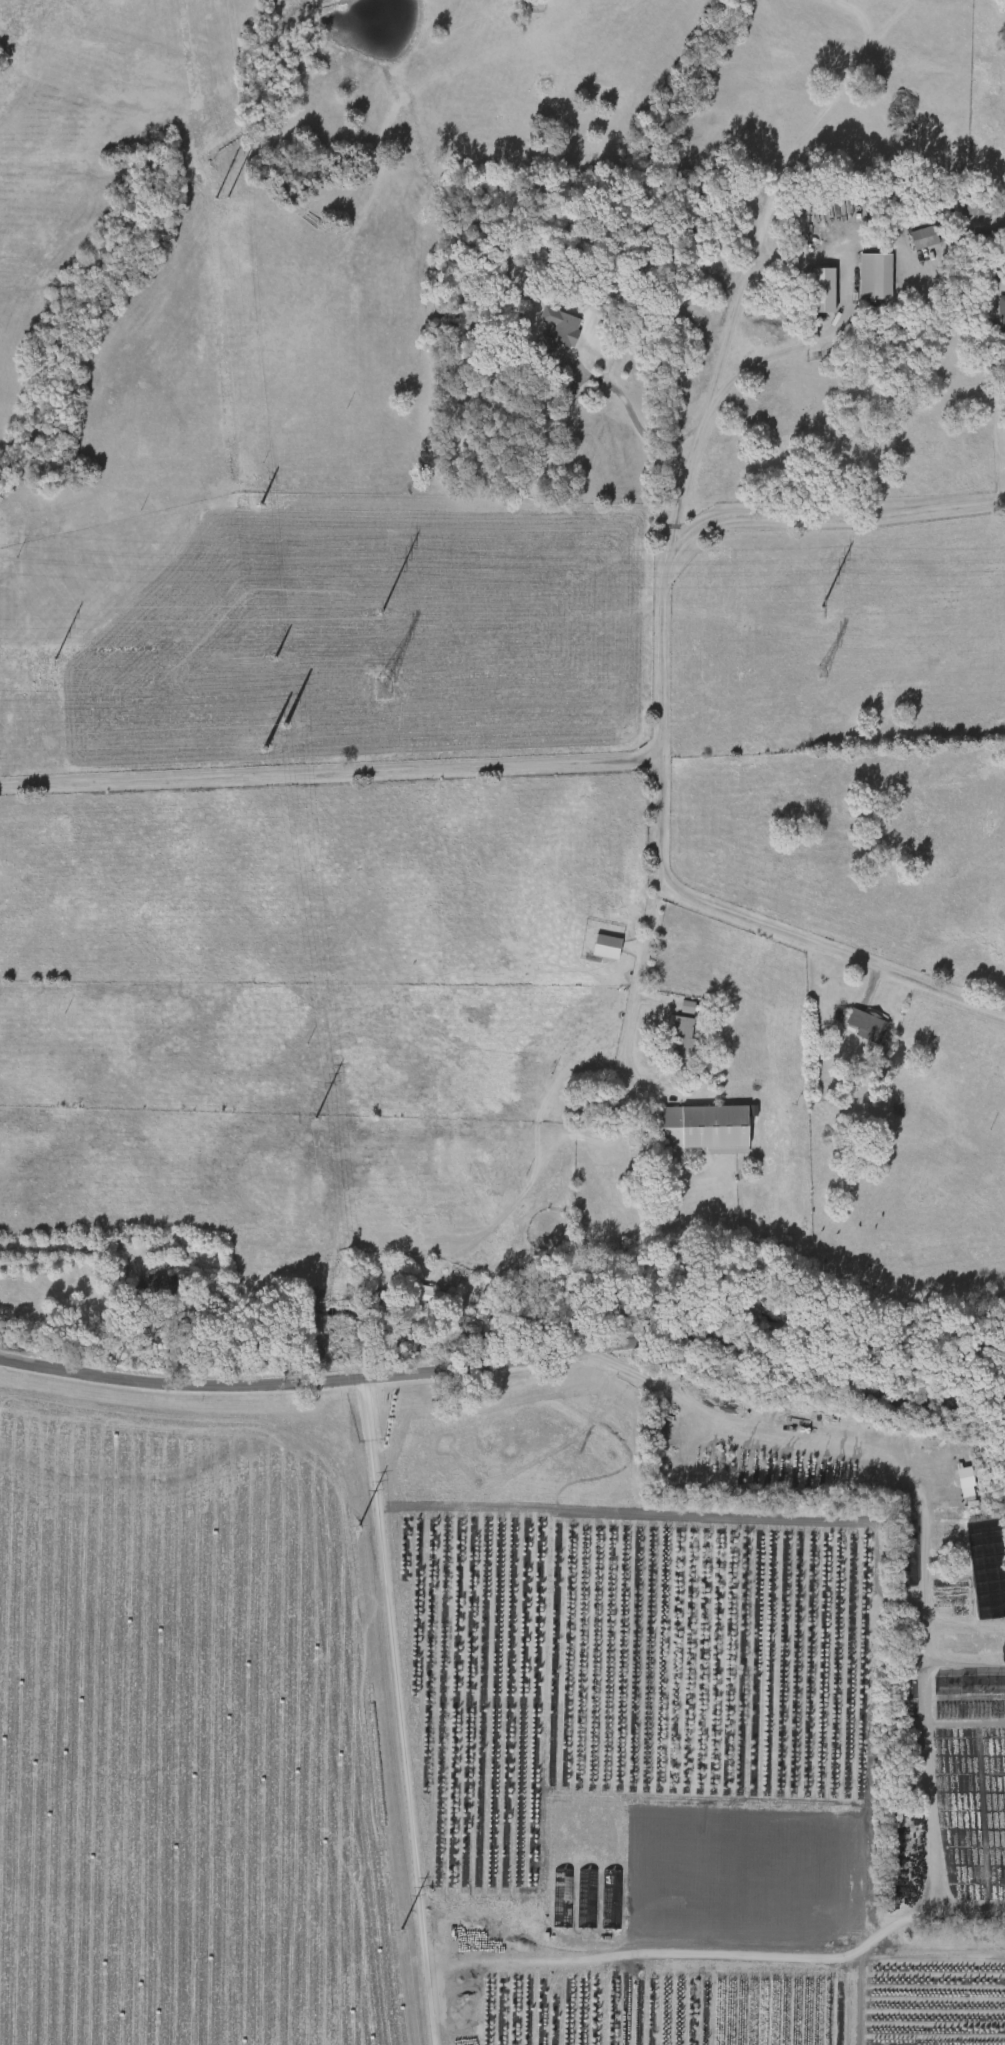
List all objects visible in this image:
power tower: (215, 199)
building: (980, 210)
road: (762, 230)
building: (925, 239)
building: (987, 245)
building: (877, 278)
building: (825, 292)
building: (1002, 314)
building: (560, 330)
road: (807, 350)
road: (658, 445)
power tower: (248, 480)
road: (730, 523)
power tower: (823, 609)
power tower: (383, 614)
building: (384, 690)
power tower: (383, 691)
power tower: (287, 726)
power tower: (266, 747)
road: (333, 779)
road: (779, 935)
building: (608, 948)
building: (867, 1027)
road: (648, 1030)
building: (683, 1036)
building: (593, 1103)
power tower: (317, 1120)
building: (705, 1130)
road: (66, 1250)
building: (157, 1287)
building: (437, 1298)
road: (508, 1365)
road: (882, 1438)
power tower: (362, 1528)
building: (988, 1568)
road: (396, 1714)
power tower: (386, 1929)

